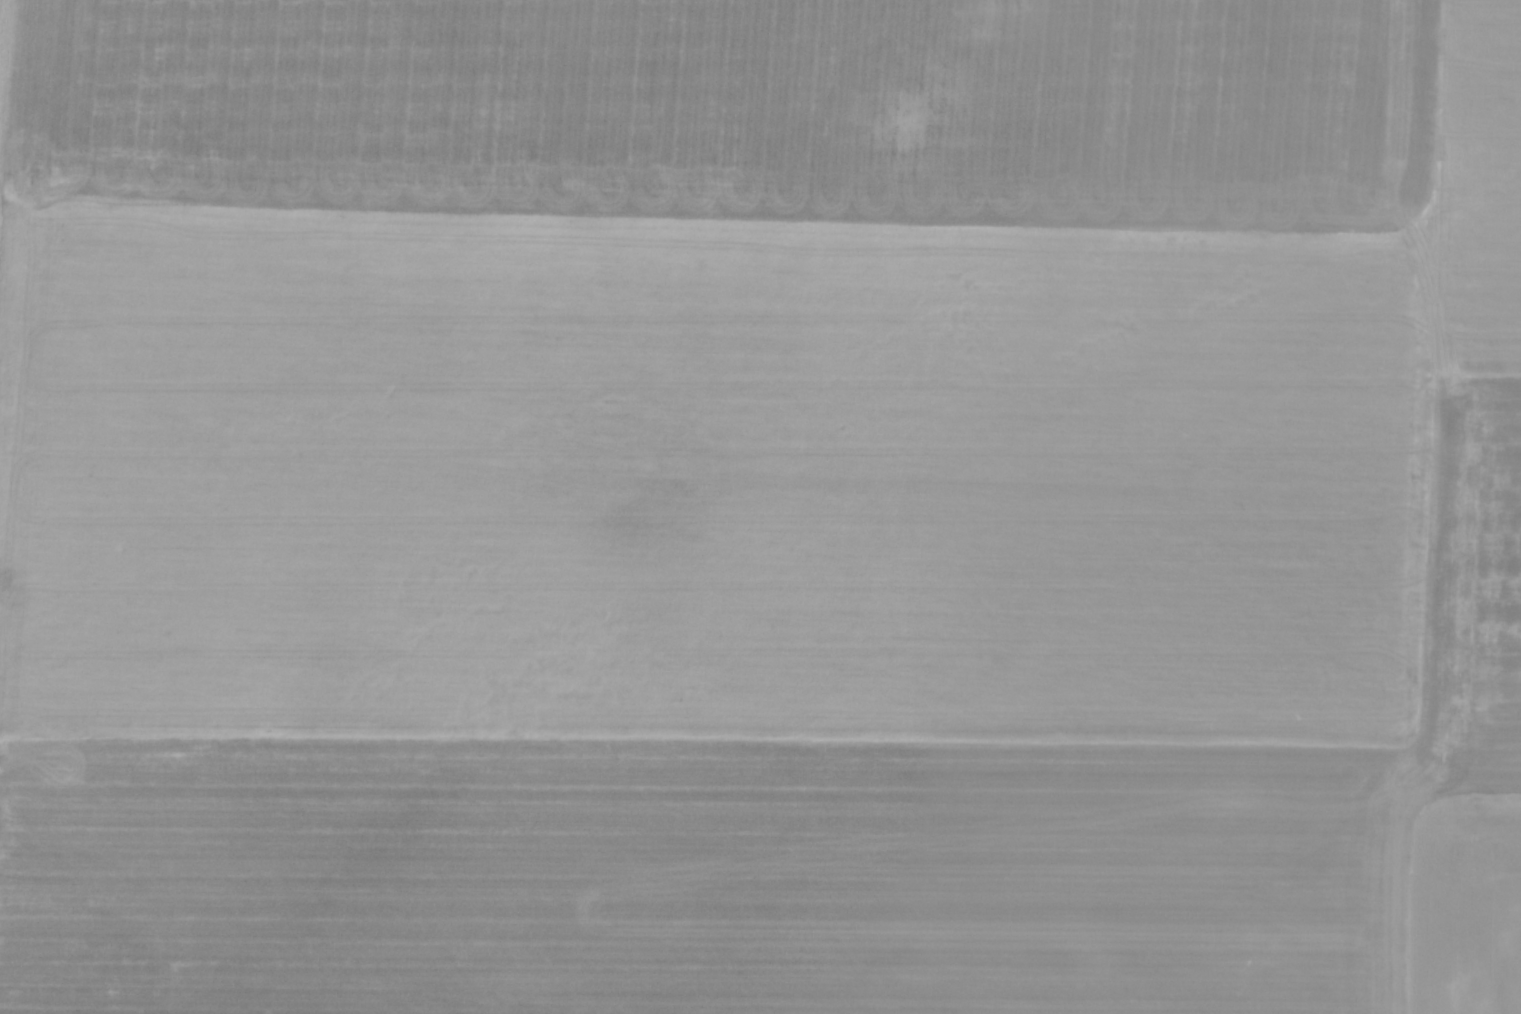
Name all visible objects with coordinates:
crop: (760, 507)

